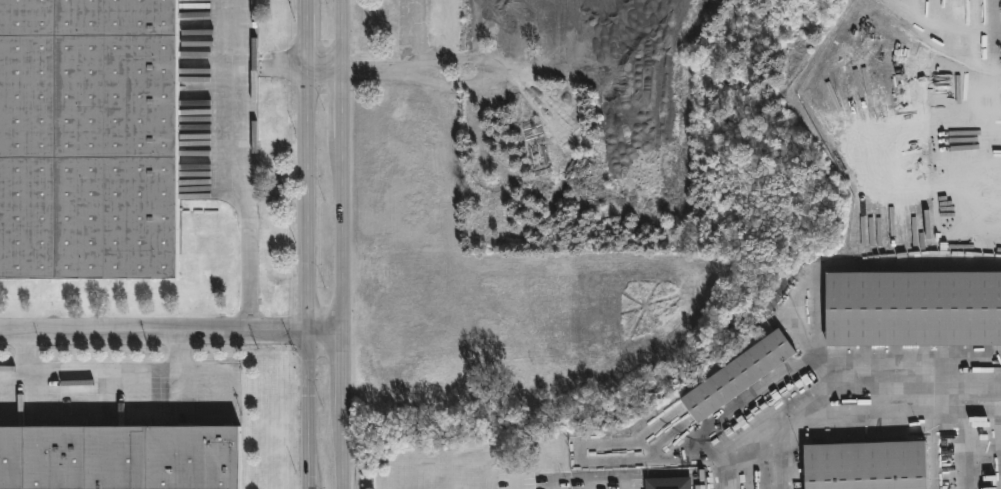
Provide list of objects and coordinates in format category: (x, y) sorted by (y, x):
road: (236, 31)
road: (269, 63)
road: (322, 65)
building: (88, 137)
road: (243, 200)
road: (305, 244)
road: (341, 244)
building: (914, 308)
road: (170, 340)
road: (21, 355)
road: (102, 369)
building: (739, 374)
building: (120, 457)
building: (868, 464)
road: (727, 478)
building: (668, 482)
road: (623, 483)

